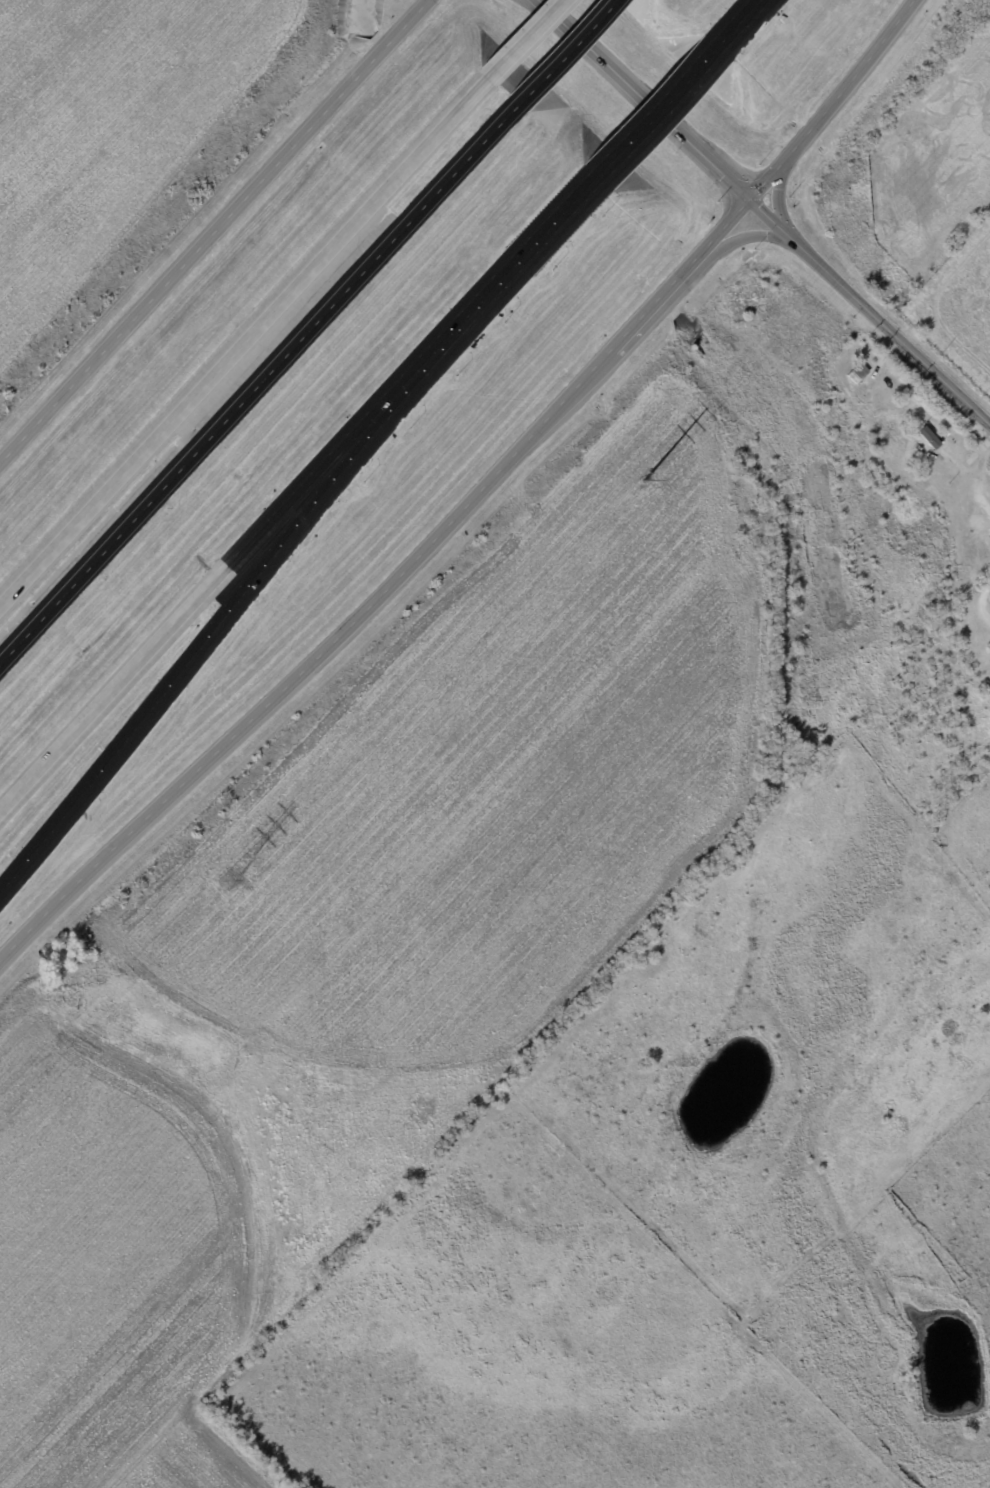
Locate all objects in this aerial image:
road: (740, 20)
road: (527, 38)
road: (565, 52)
road: (832, 102)
road: (656, 111)
road: (776, 201)
road: (761, 215)
road: (723, 226)
road: (744, 235)
road: (214, 238)
road: (525, 253)
road: (636, 319)
road: (245, 335)
building: (859, 374)
road: (258, 384)
building: (931, 438)
building: (874, 444)
power tower: (636, 484)
road: (226, 564)
road: (986, 591)
road: (232, 611)
road: (292, 678)
power tower: (218, 882)

